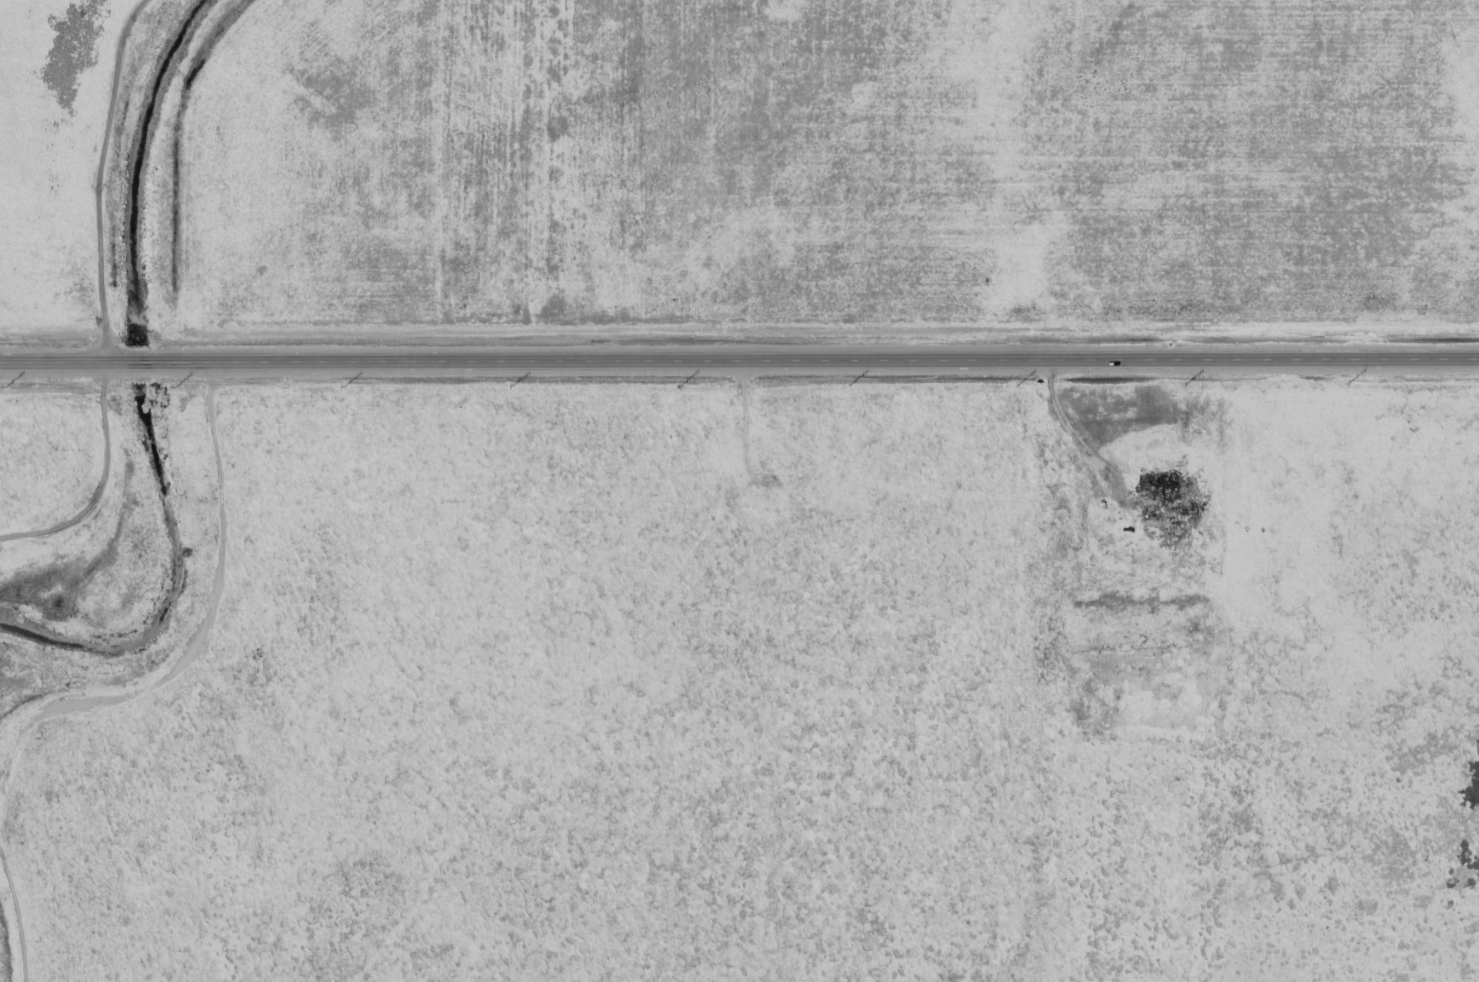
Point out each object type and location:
road: (849, 360)
road: (147, 362)
road: (36, 363)
river: (153, 378)
road: (1067, 428)

